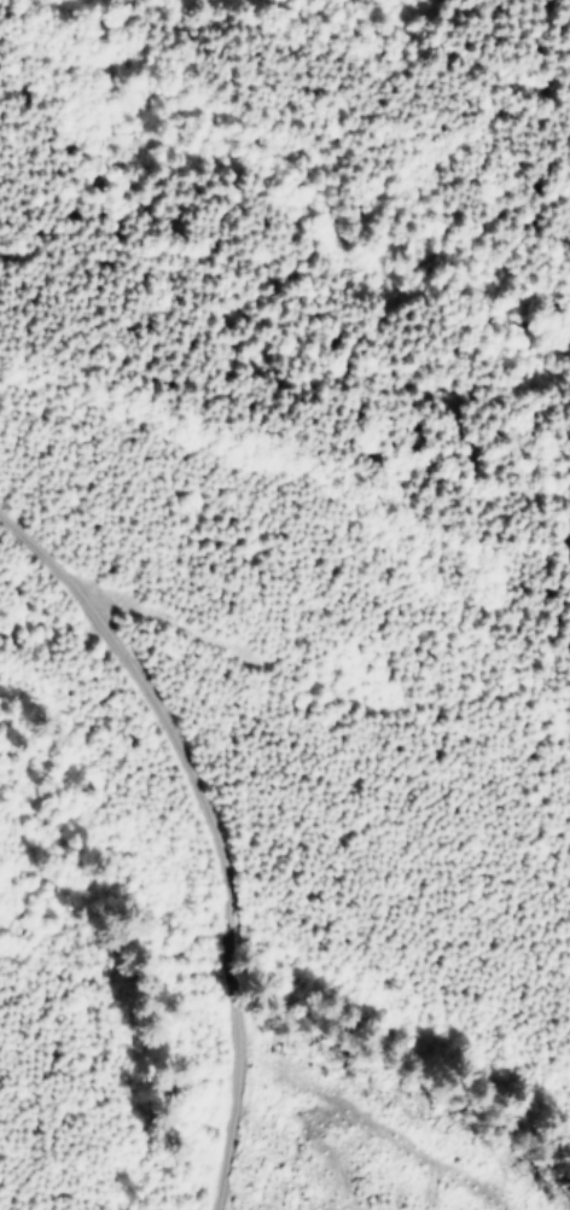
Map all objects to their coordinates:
road: (444, 48)
road: (243, 802)

